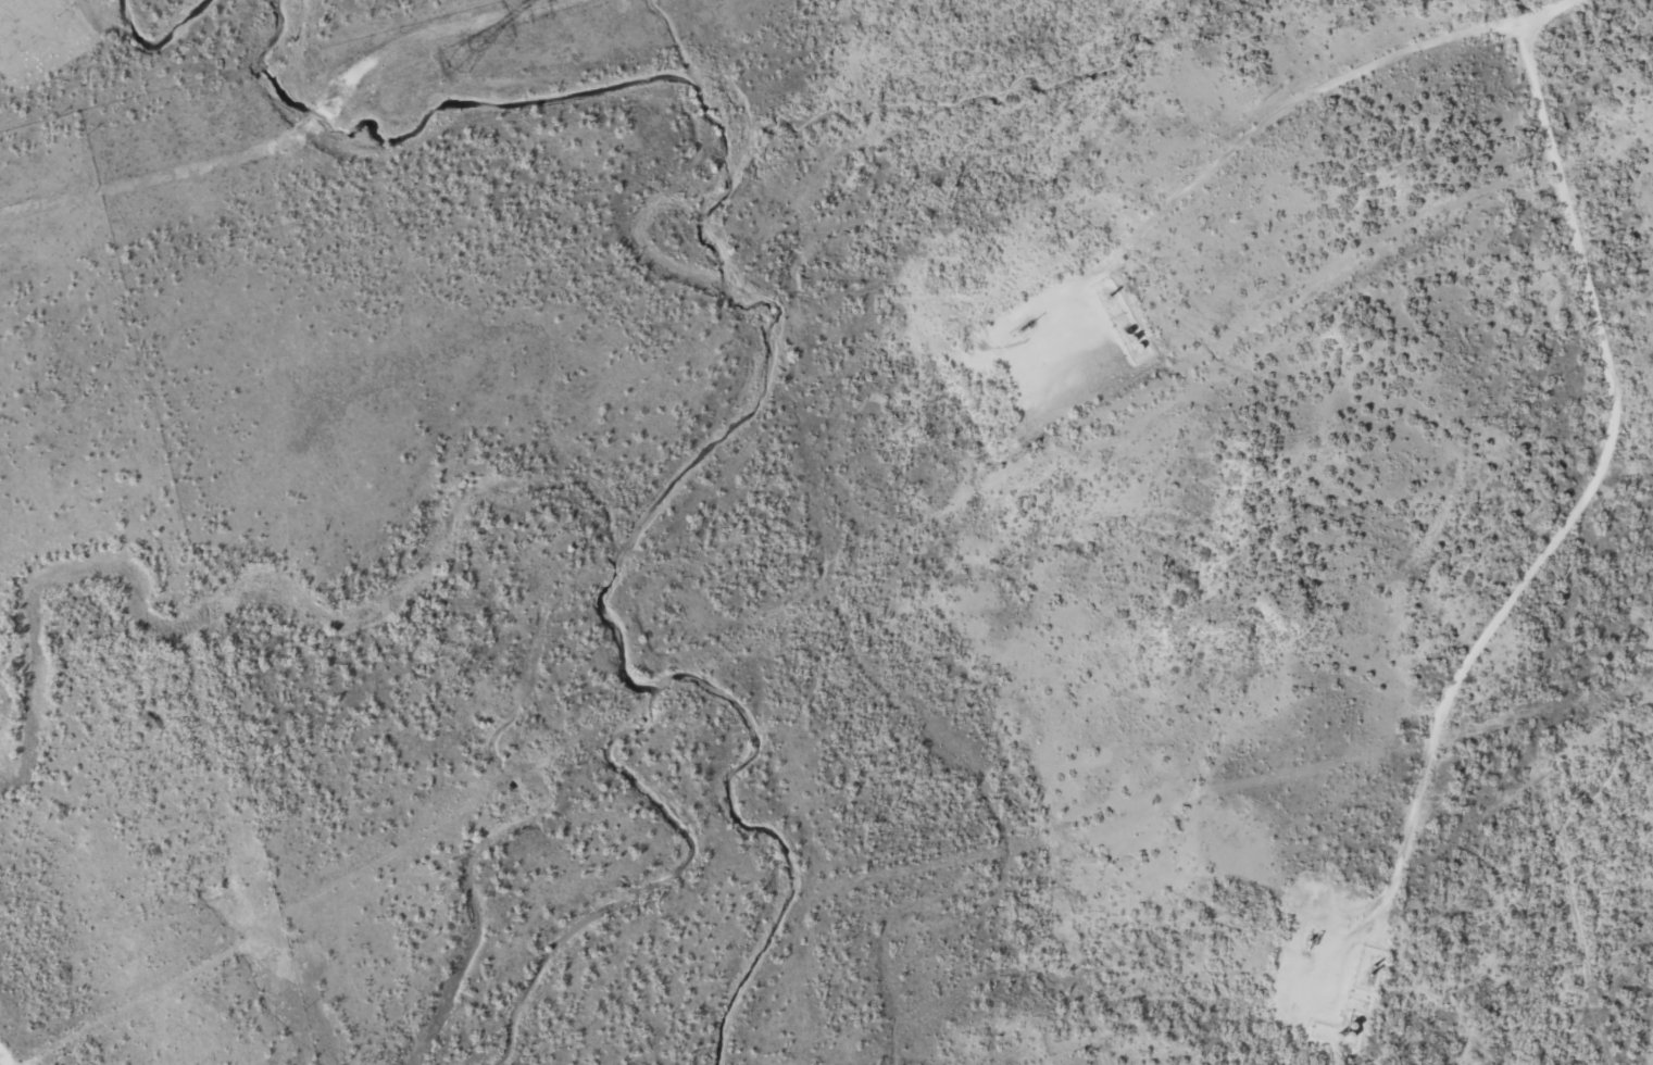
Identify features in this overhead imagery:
power tower: (450, 63)

